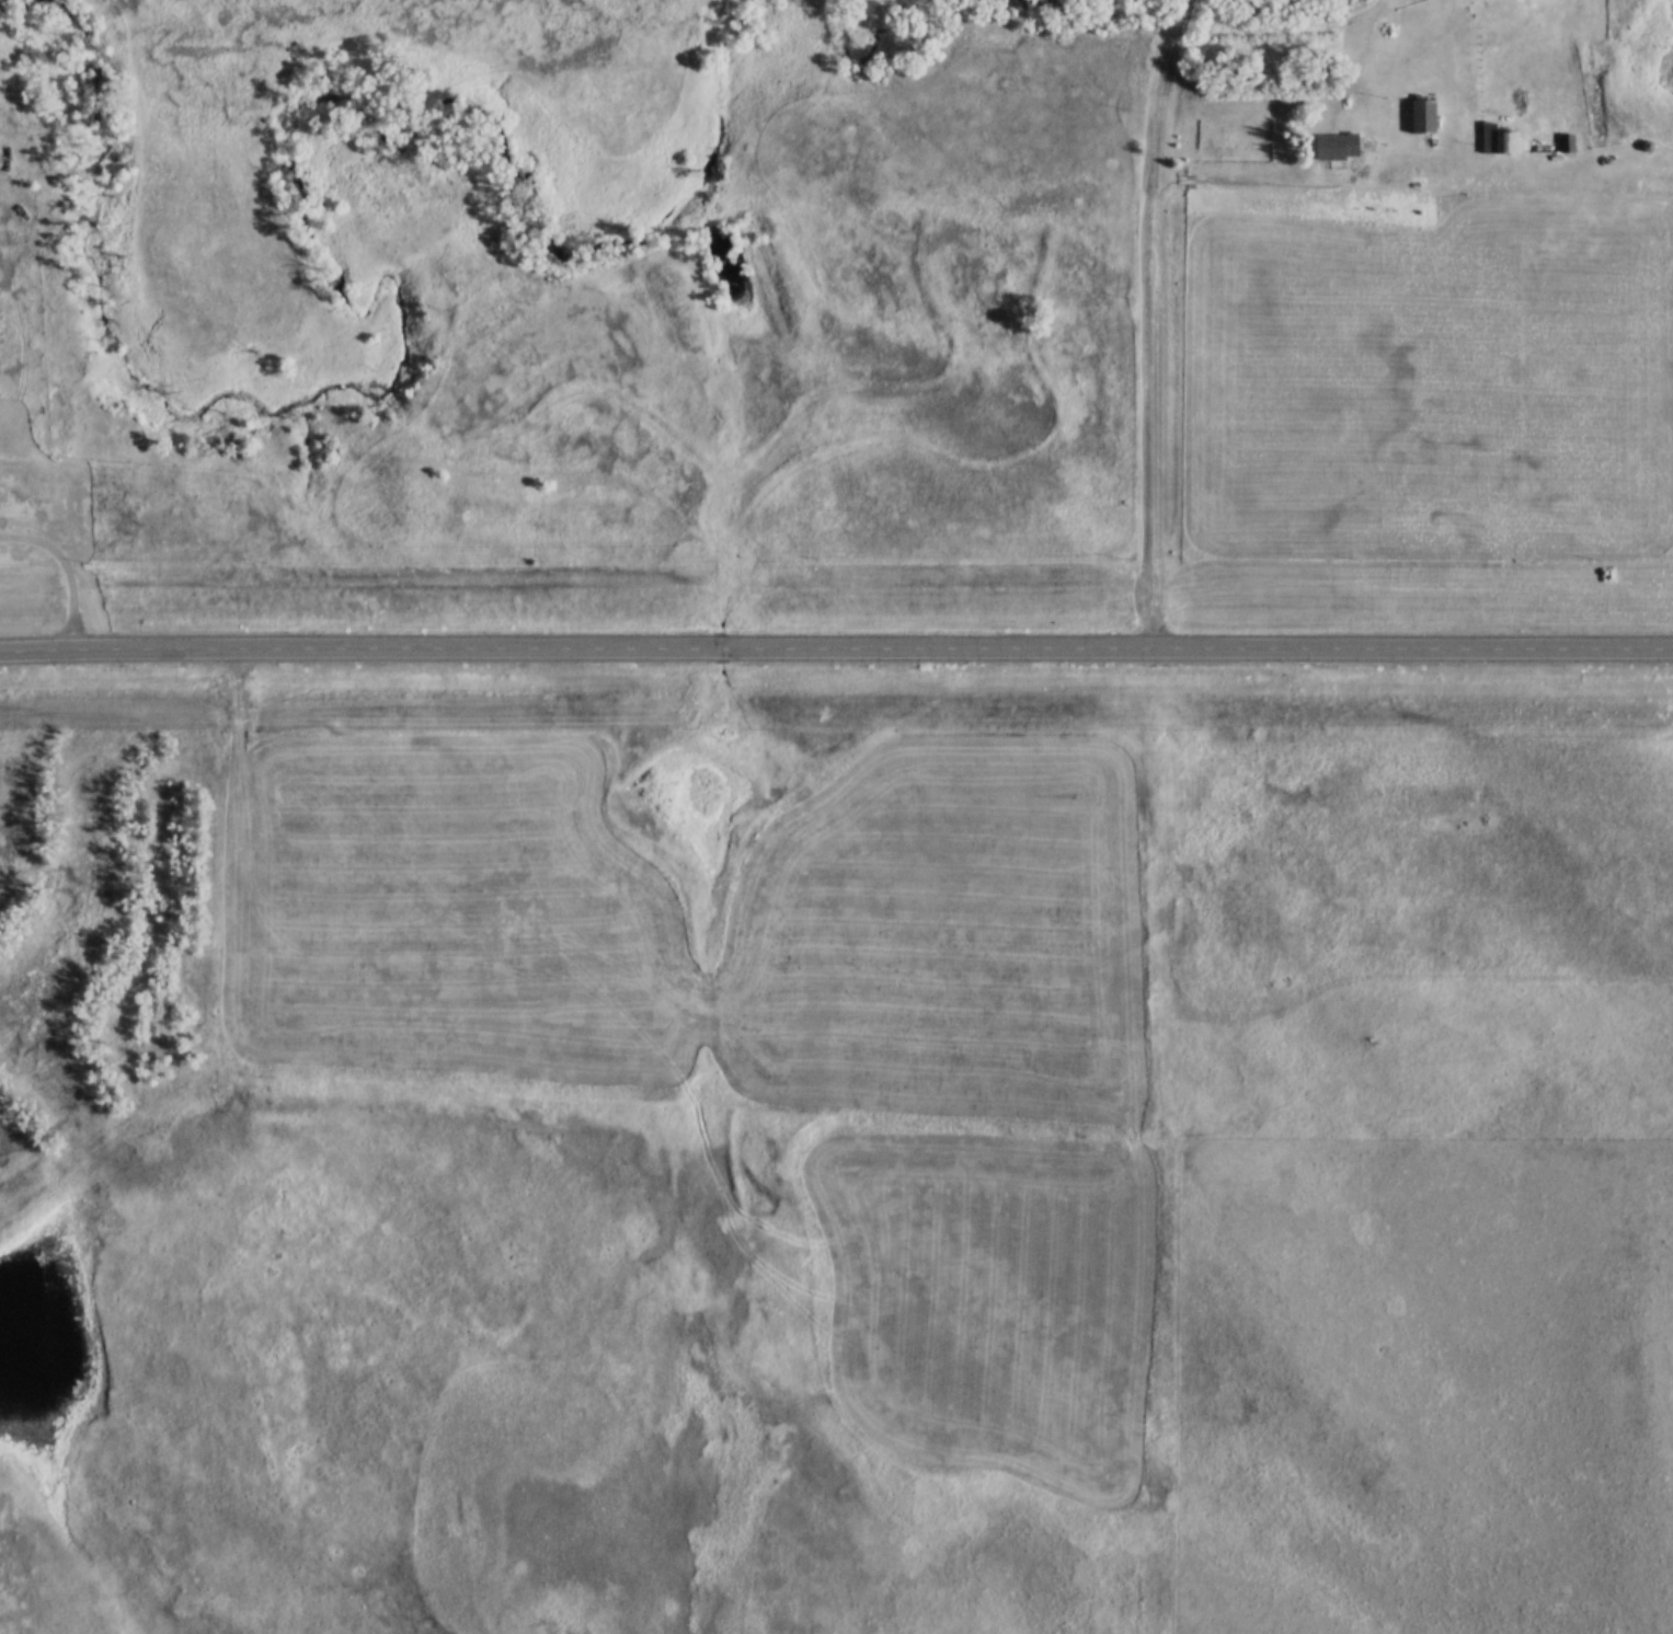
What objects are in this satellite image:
building: (1422, 119)
building: (1497, 142)
building: (1338, 148)
road: (1158, 323)
road: (836, 653)

